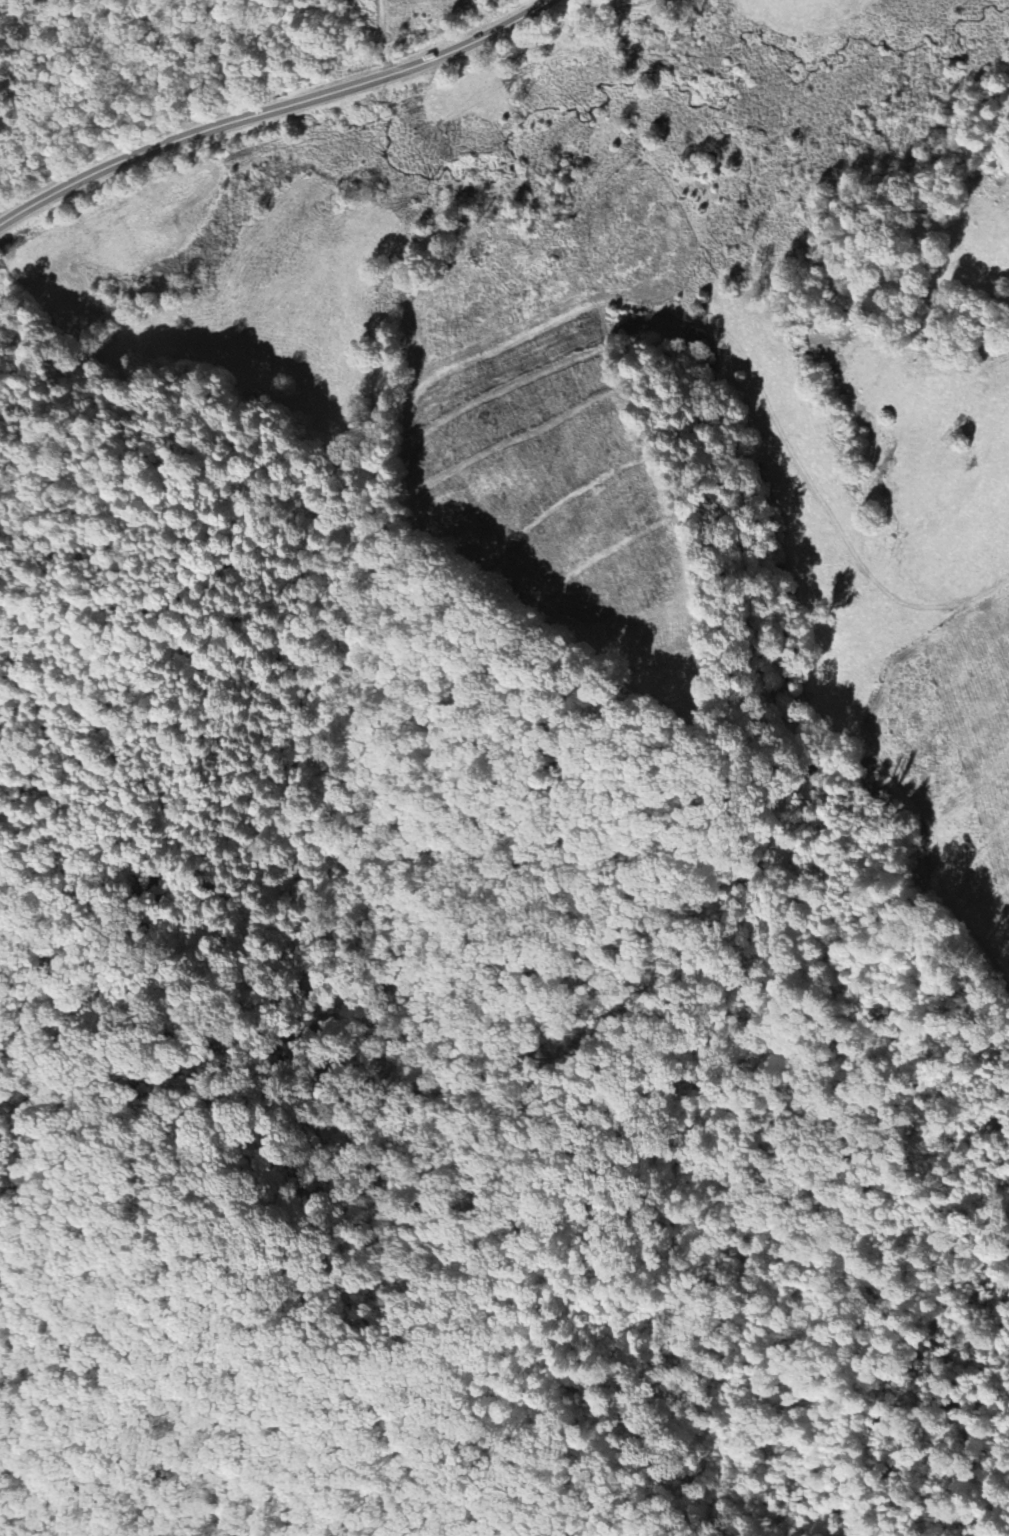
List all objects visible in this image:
road: (269, 110)

